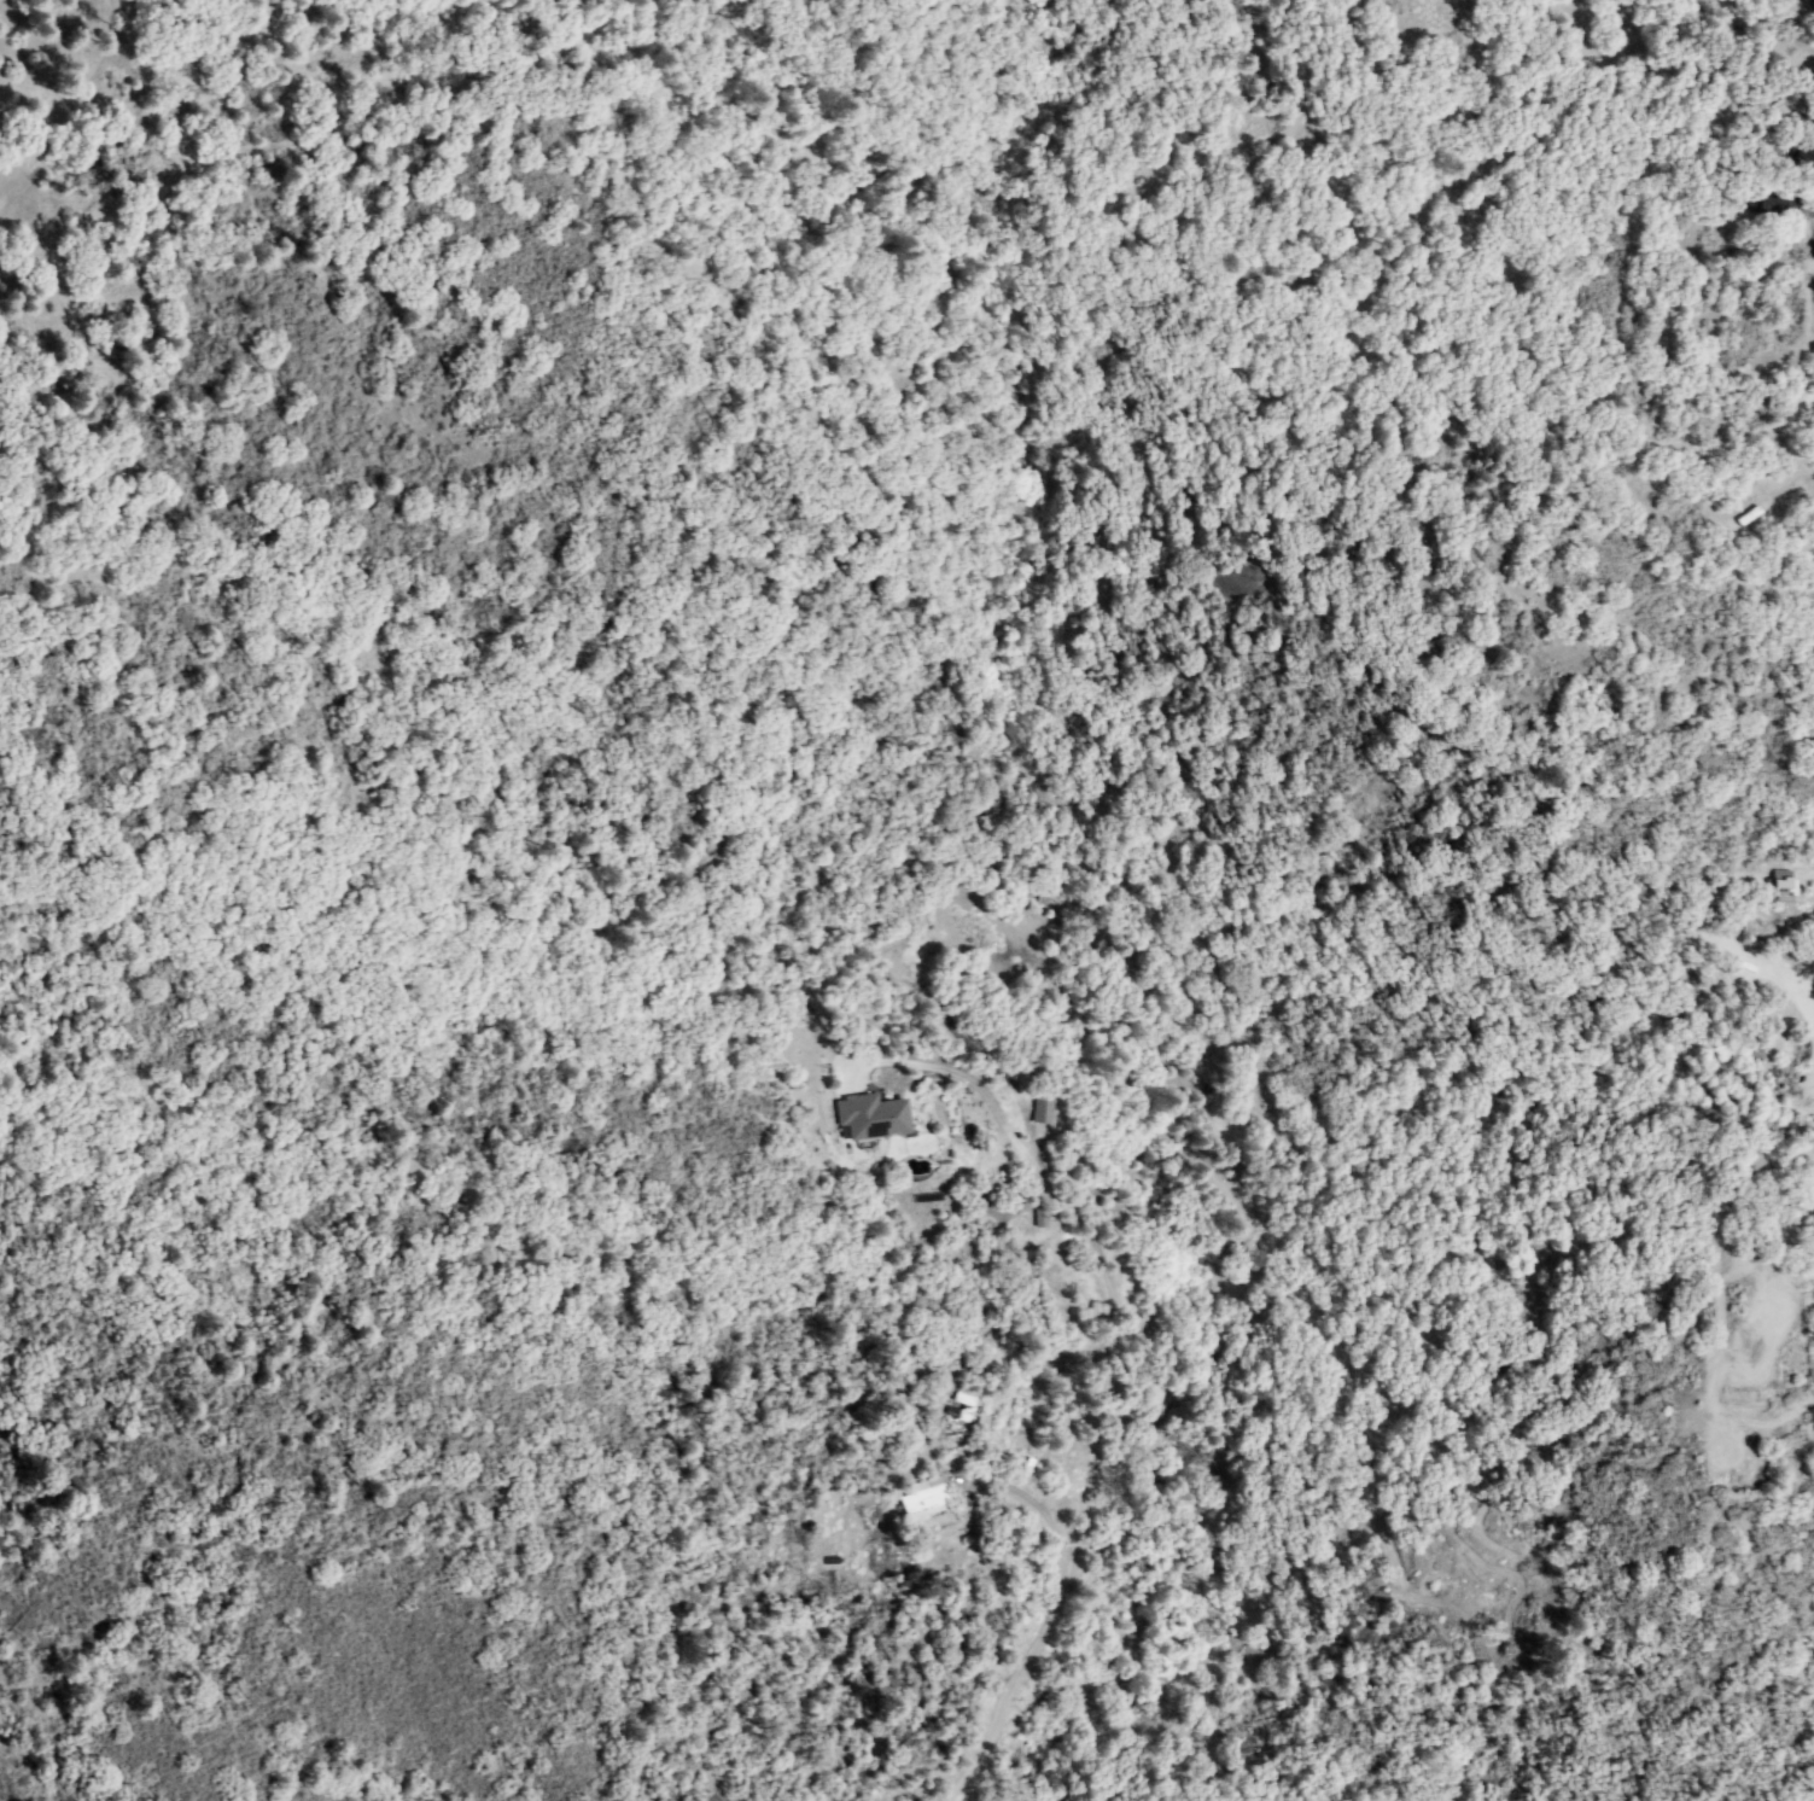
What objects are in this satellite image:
building: (1804, 158)
building: (1769, 205)
building: (1780, 887)
building: (1040, 1109)
building: (873, 1117)
building: (960, 1405)
building: (926, 1500)
road: (1465, 1581)

